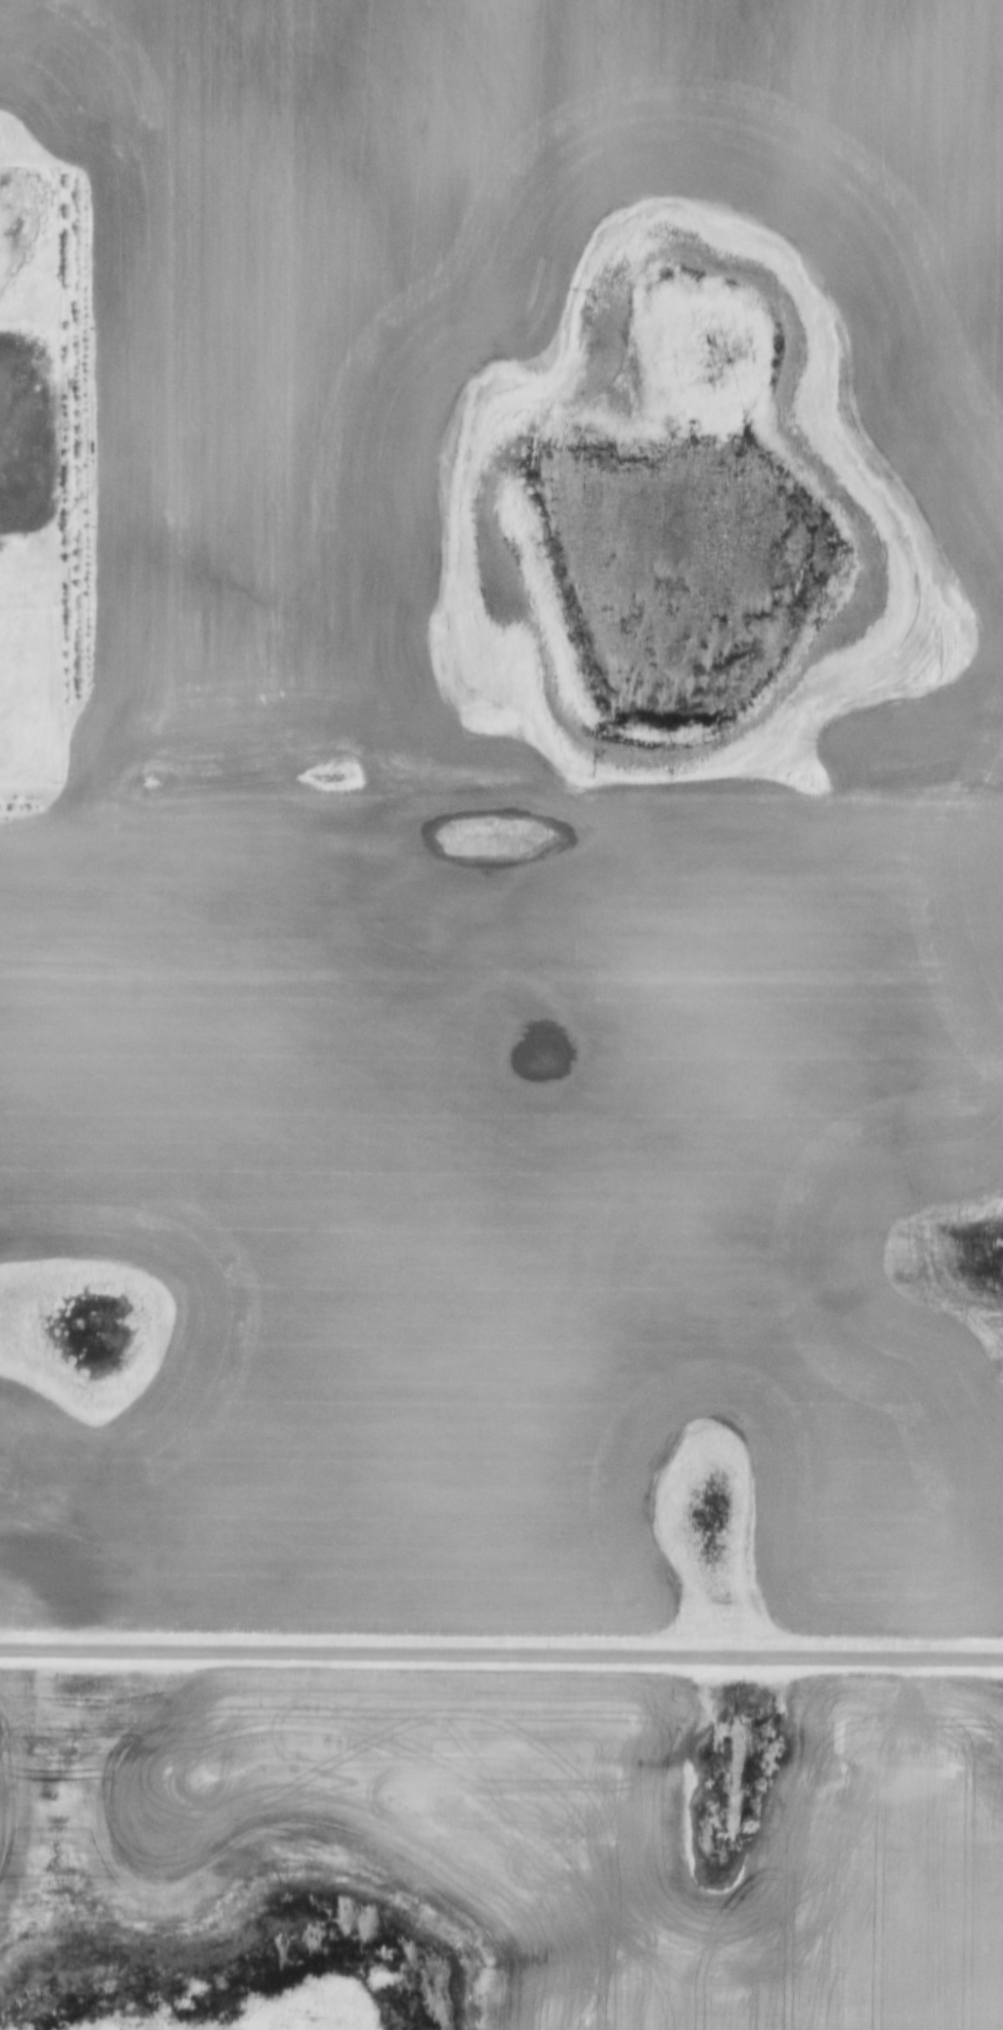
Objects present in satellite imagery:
road: (501, 1655)

